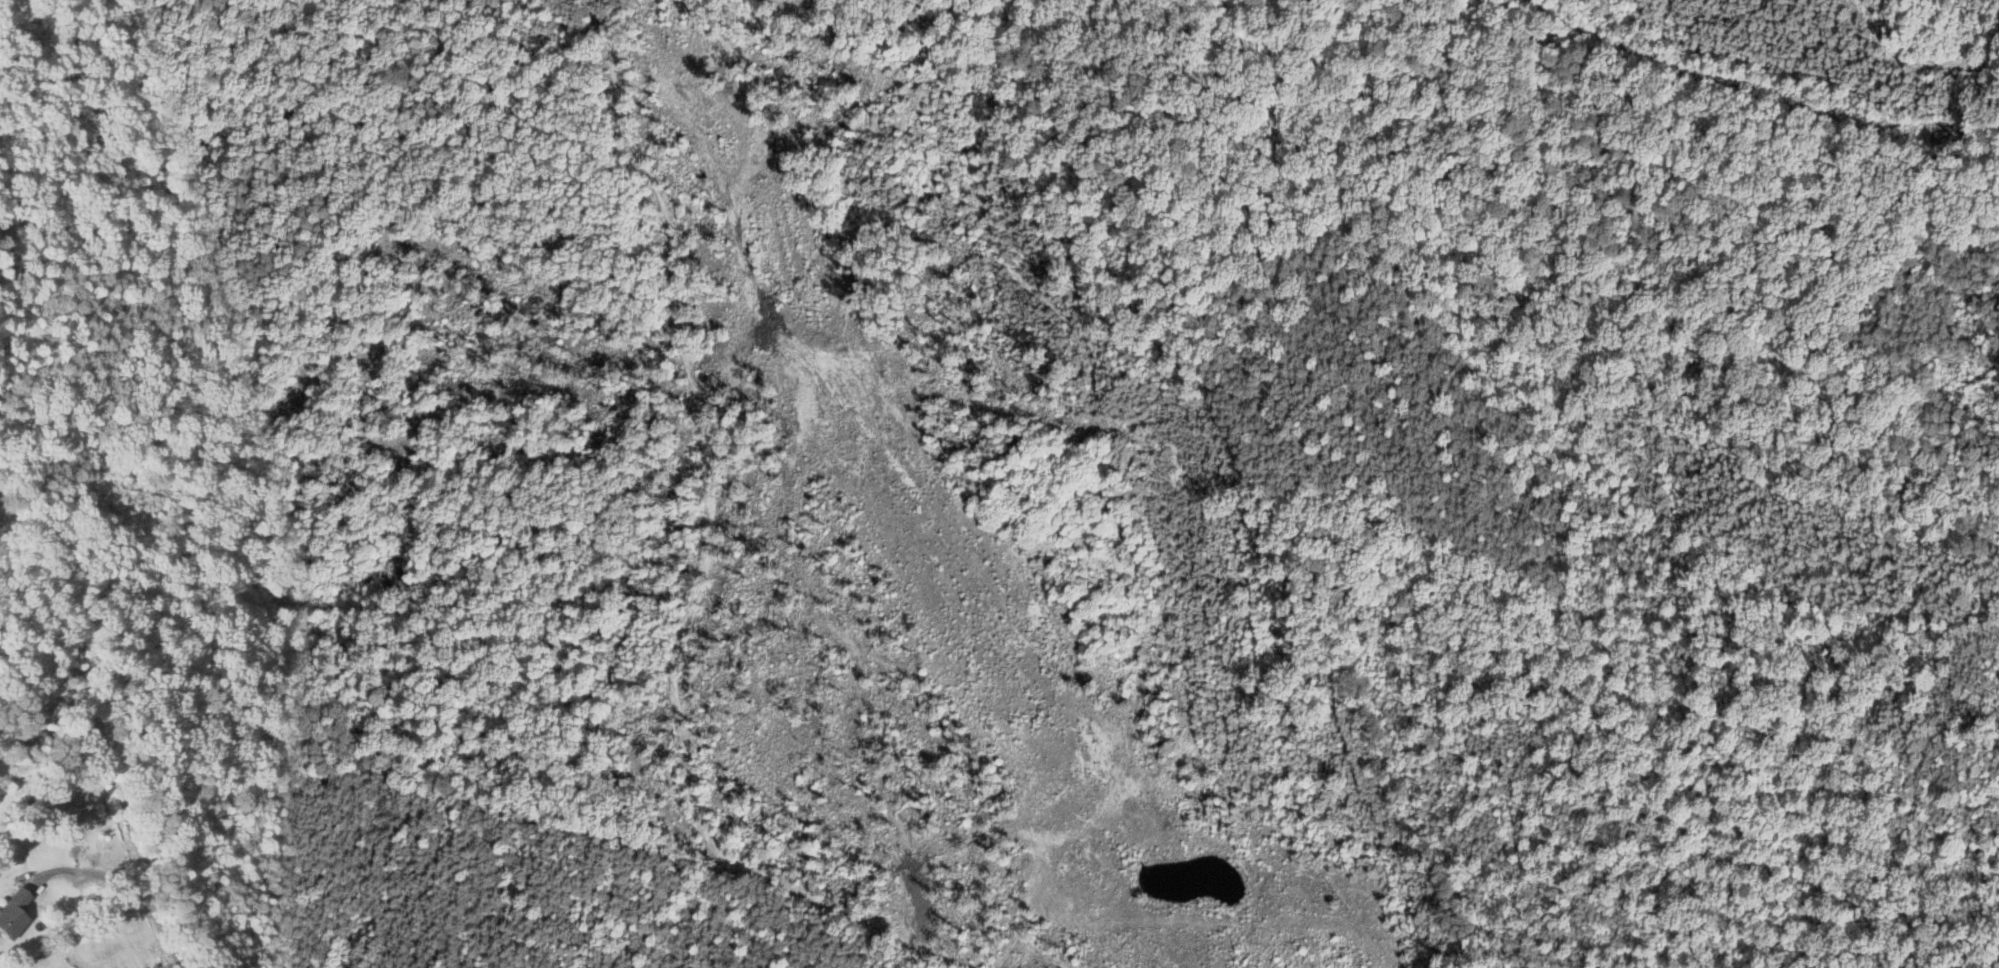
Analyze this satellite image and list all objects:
road: (130, 886)
building: (13, 916)

